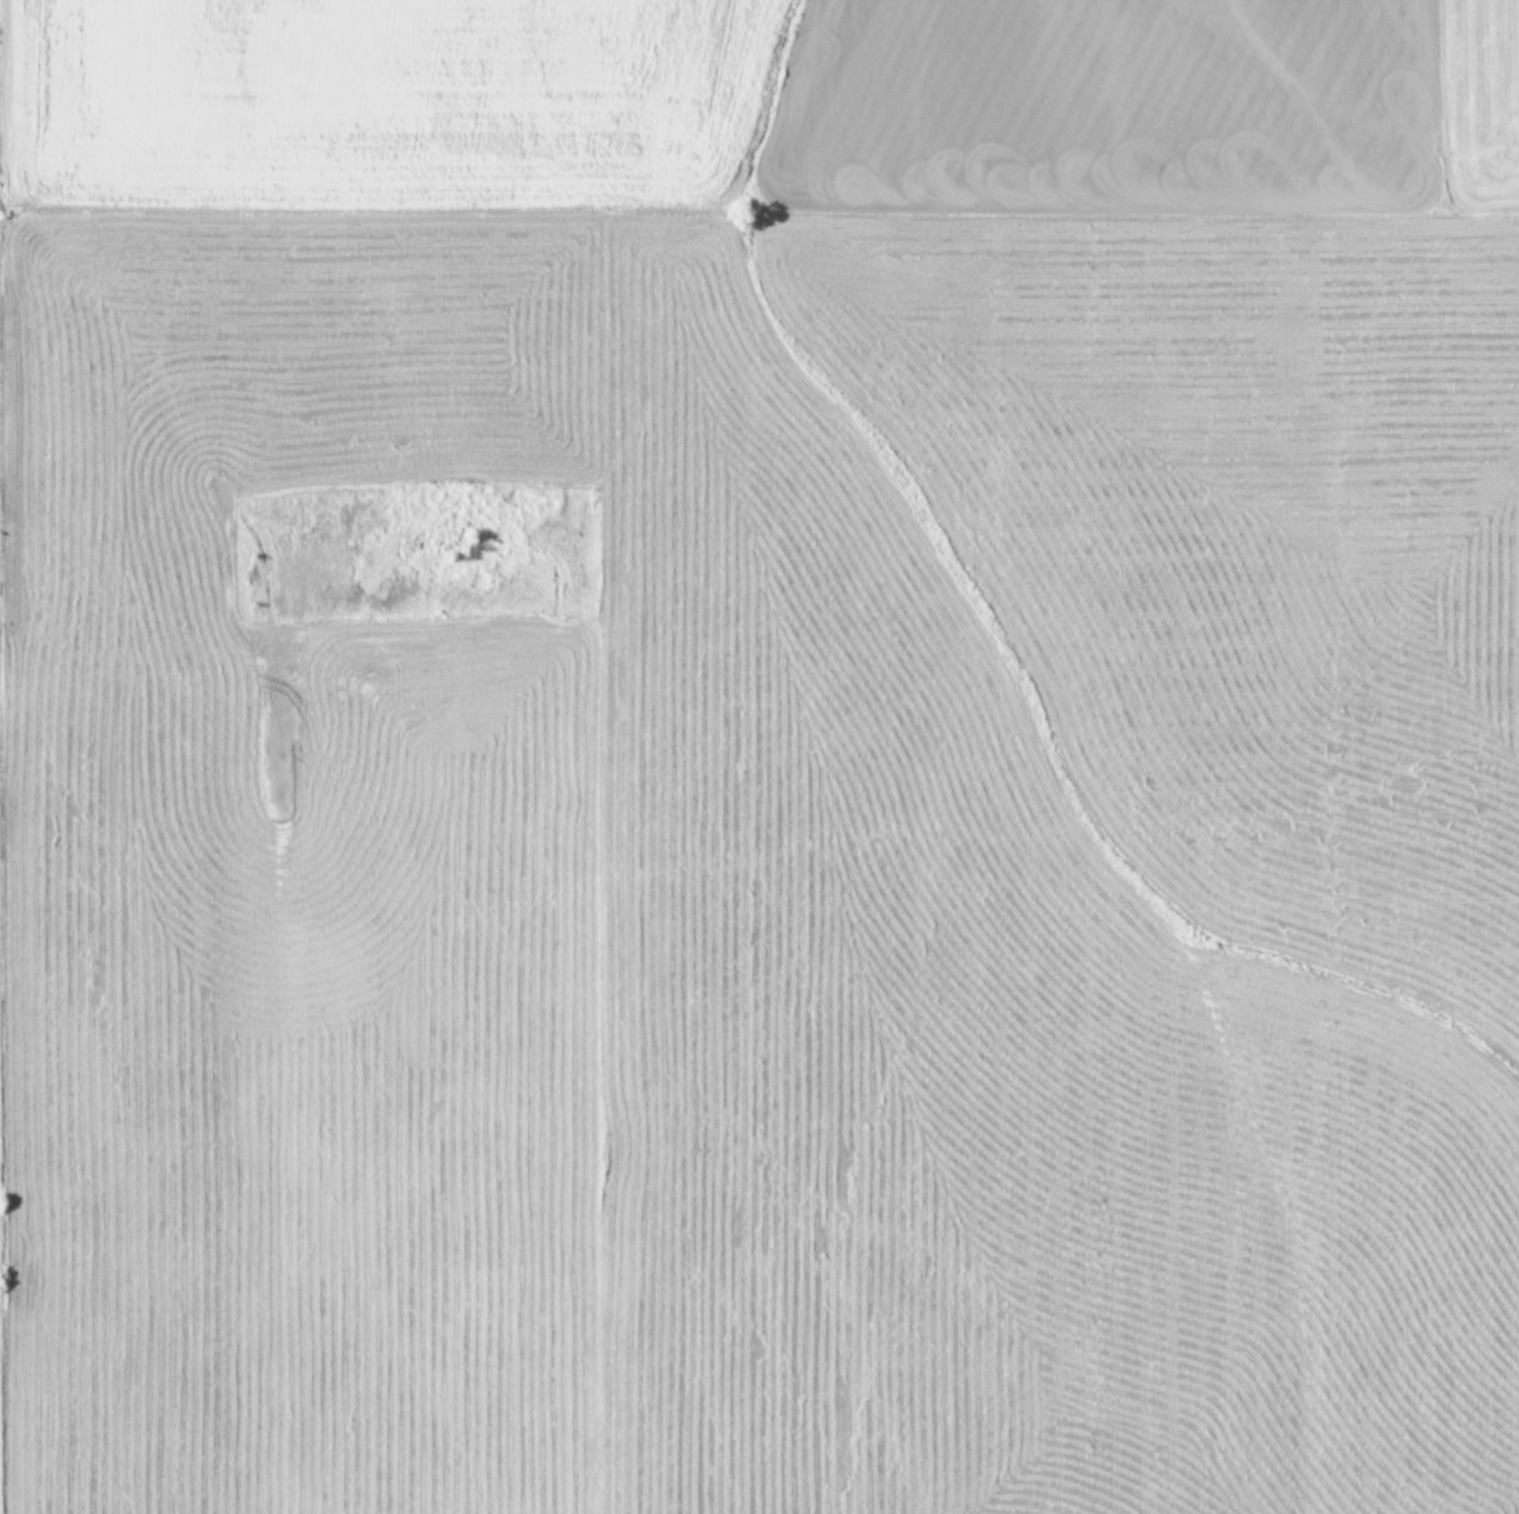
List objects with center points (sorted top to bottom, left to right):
crop: (770, 756)

